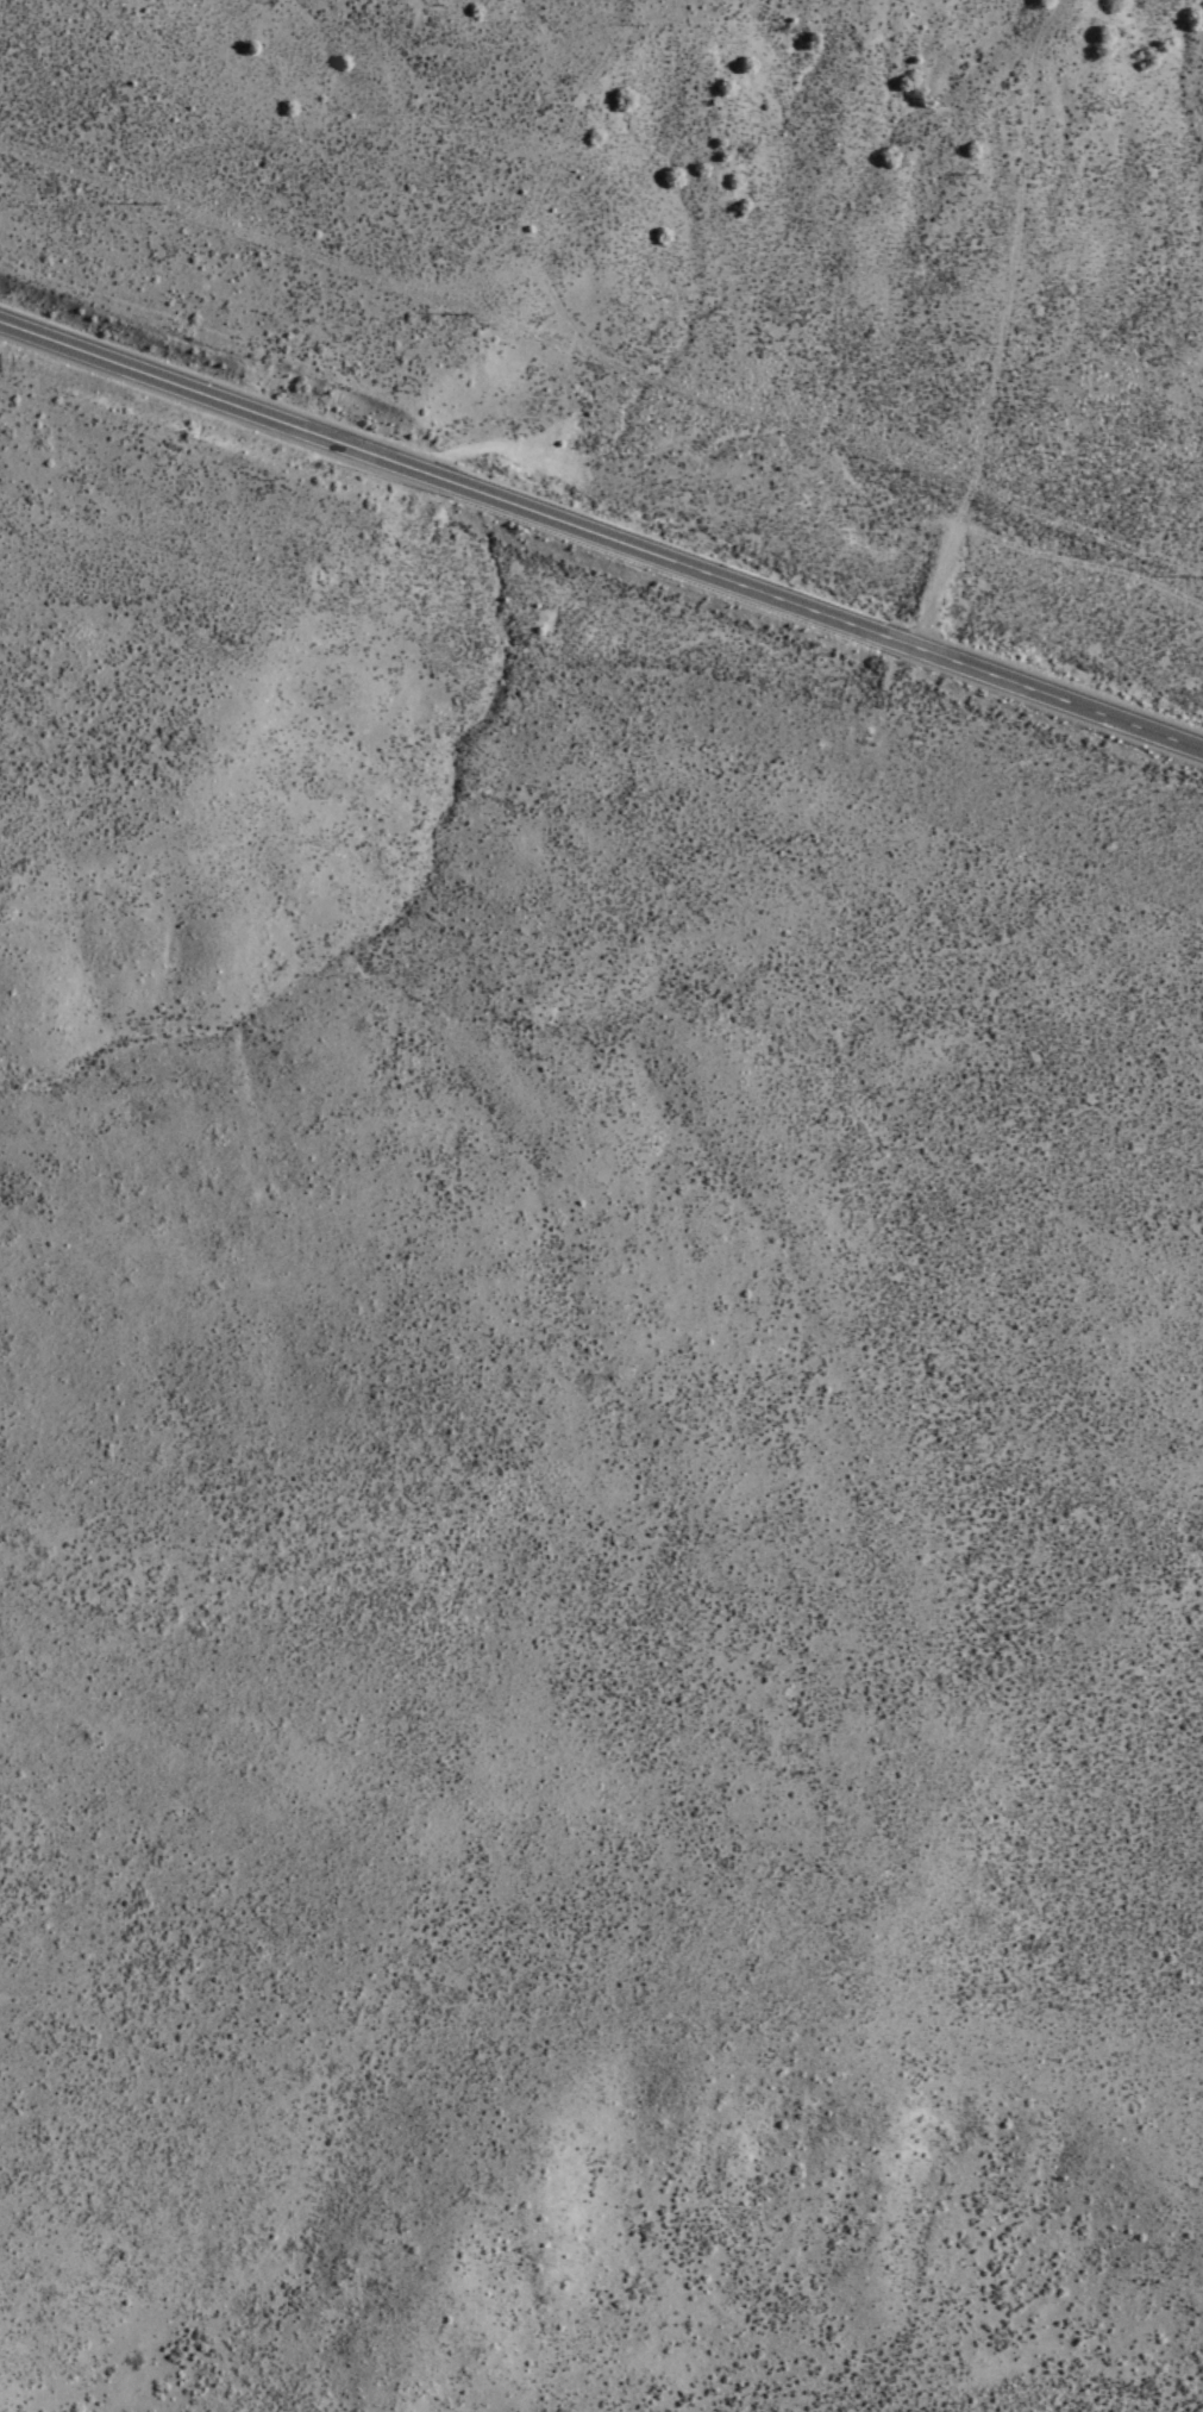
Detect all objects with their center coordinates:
crop: (1147, 511)
road: (601, 532)

